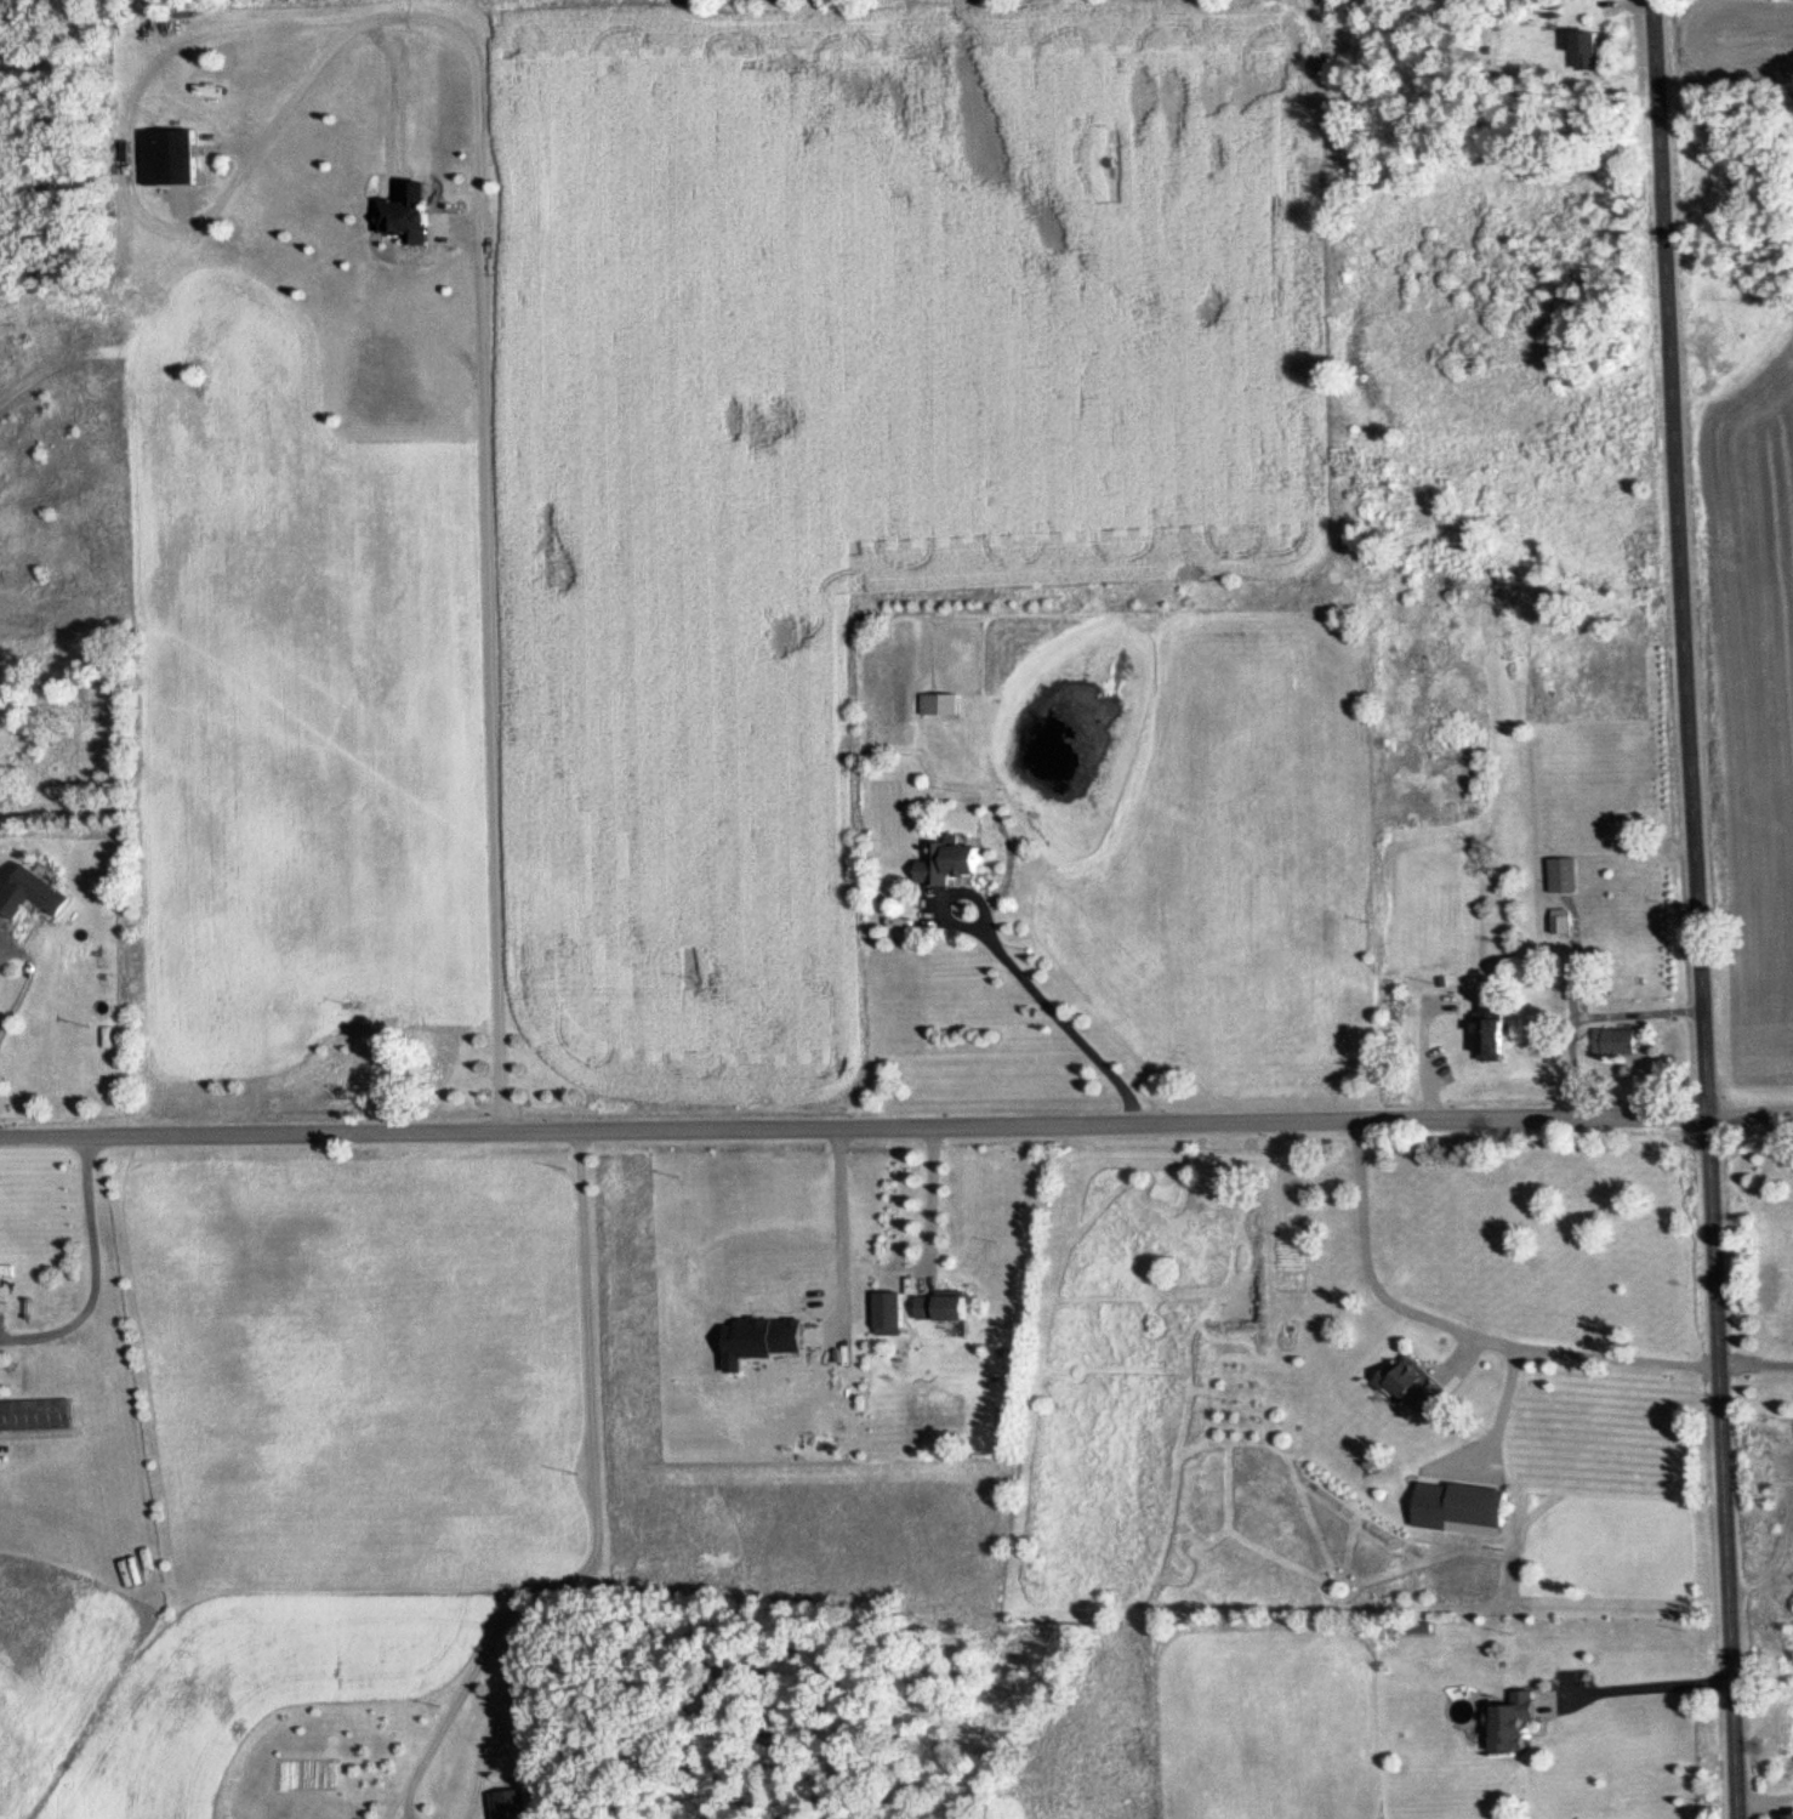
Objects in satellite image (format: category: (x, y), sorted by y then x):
building: (1579, 52)
building: (163, 159)
building: (398, 221)
road: (484, 439)
building: (933, 704)
building: (939, 862)
building: (1558, 875)
building: (27, 892)
road: (1696, 909)
building: (1554, 921)
road: (30, 985)
road: (1053, 1016)
building: (1390, 1016)
road: (1590, 1017)
building: (1481, 1036)
building: (1610, 1041)
road: (897, 1122)
road: (927, 1201)
road: (96, 1272)
building: (934, 1307)
road: (1453, 1334)
road: (1754, 1370)
building: (1405, 1383)
building: (34, 1416)
road: (596, 1506)
building: (1468, 1506)
road: (1650, 1693)
building: (1504, 1722)
building: (501, 1804)
building: (1782, 1817)

